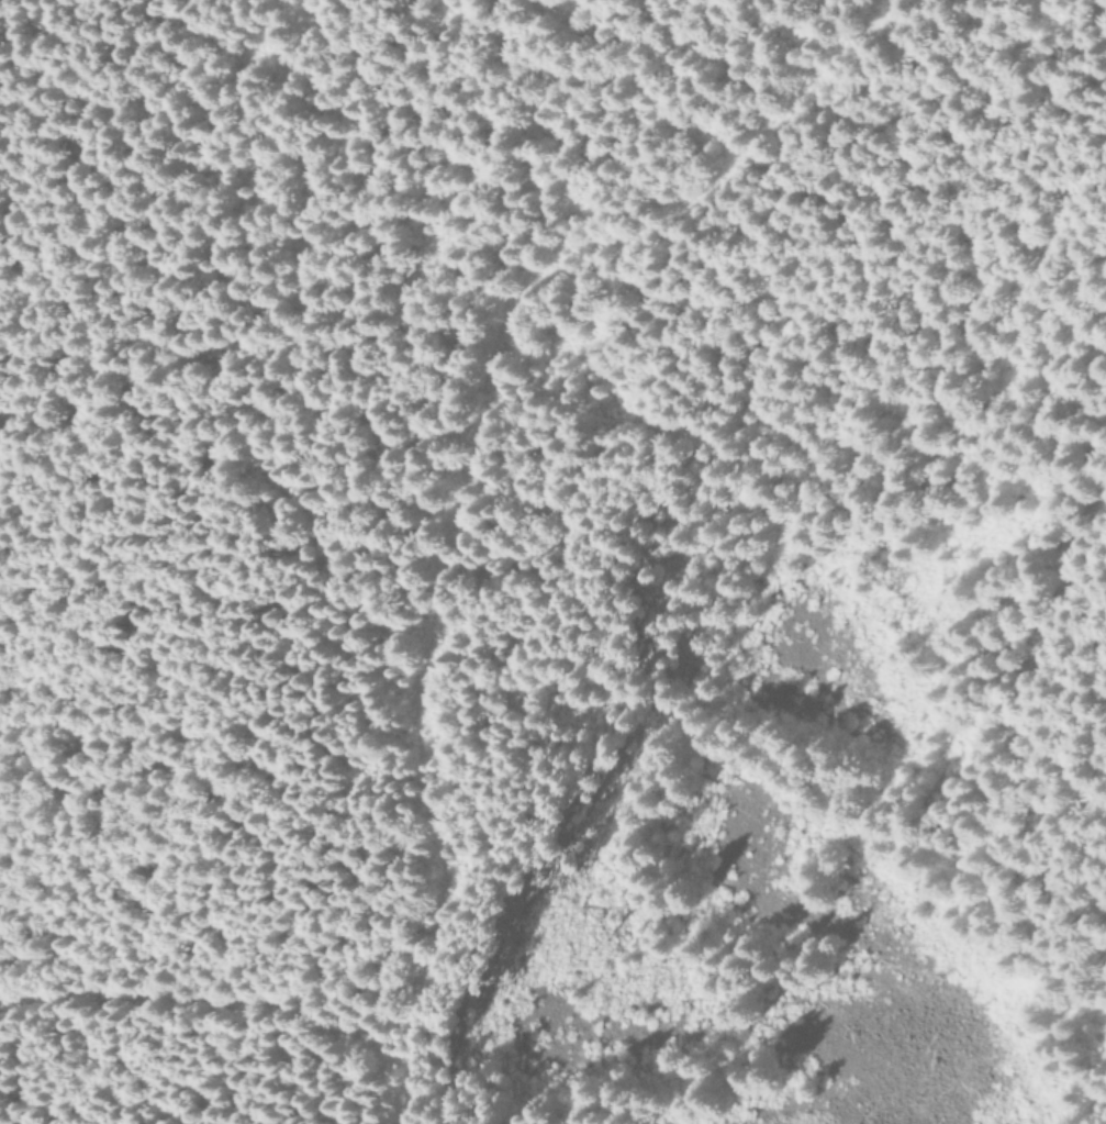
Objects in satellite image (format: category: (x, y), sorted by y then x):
road: (453, 469)

